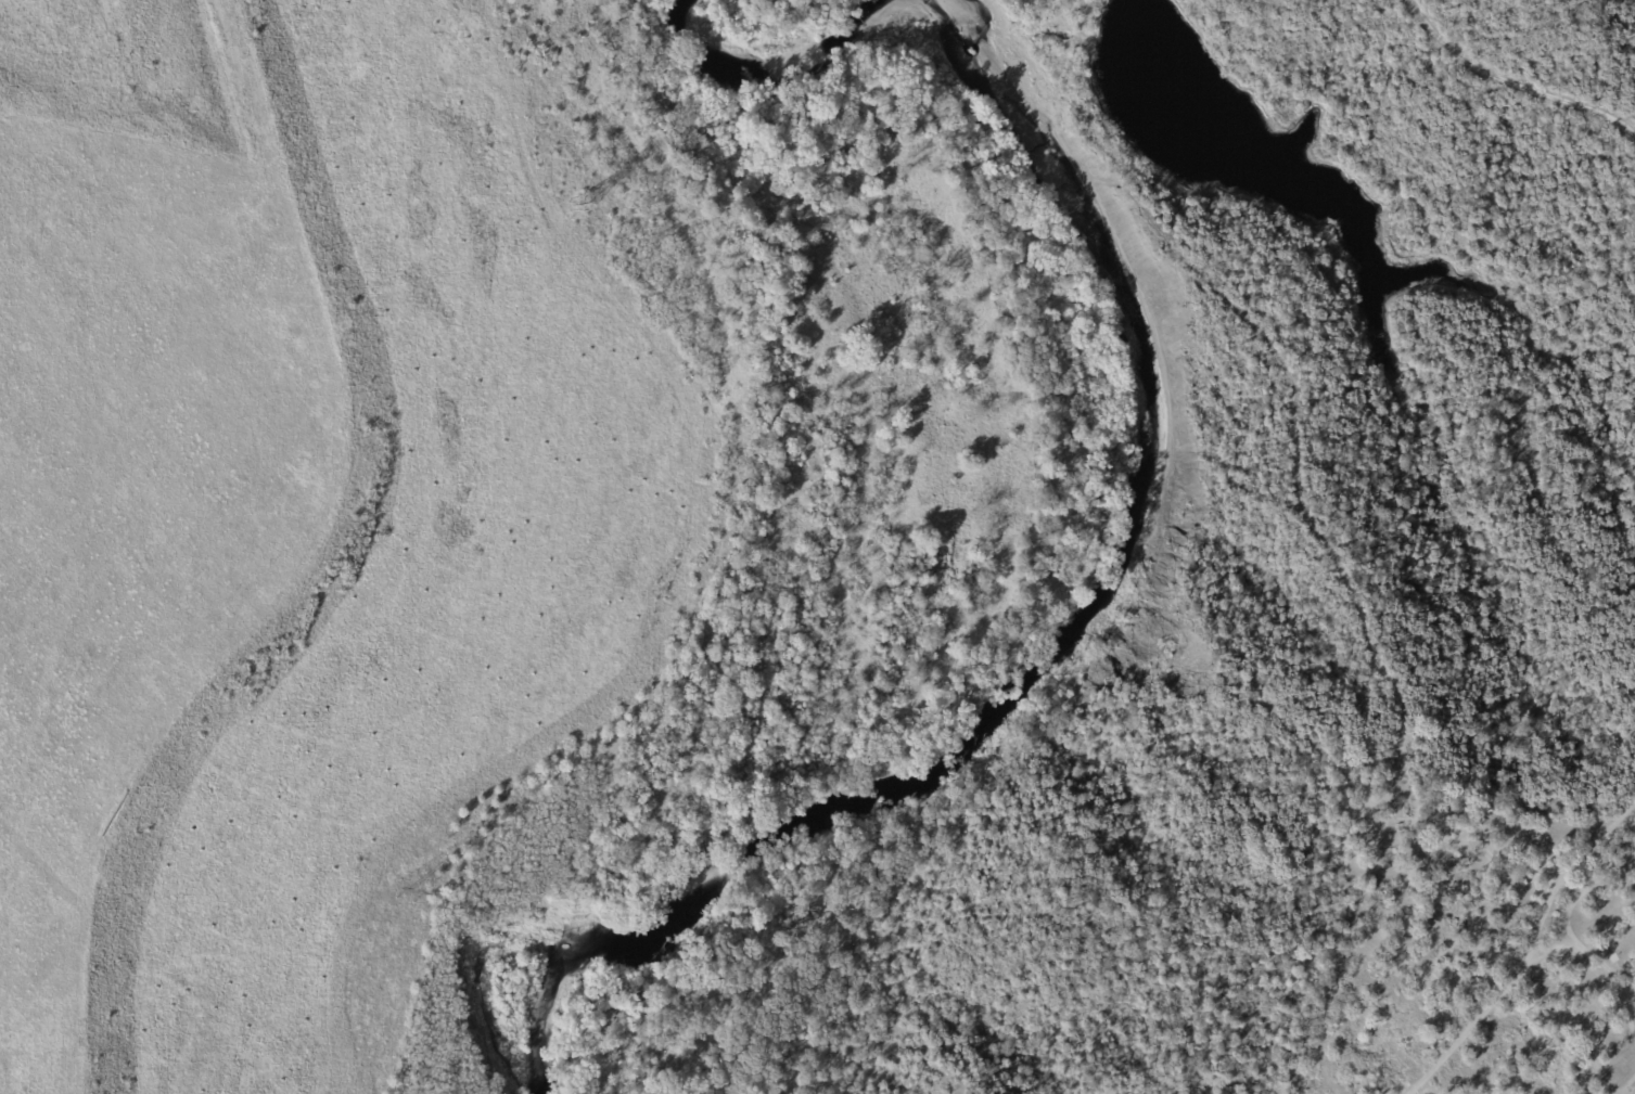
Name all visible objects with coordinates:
road: (1510, 83)
power tower: (575, 211)
park: (1438, 589)
river: (1114, 593)
power tower: (403, 899)
road: (1571, 940)
road: (1530, 951)
road: (1631, 1087)
parking lot: (1633, 1091)

